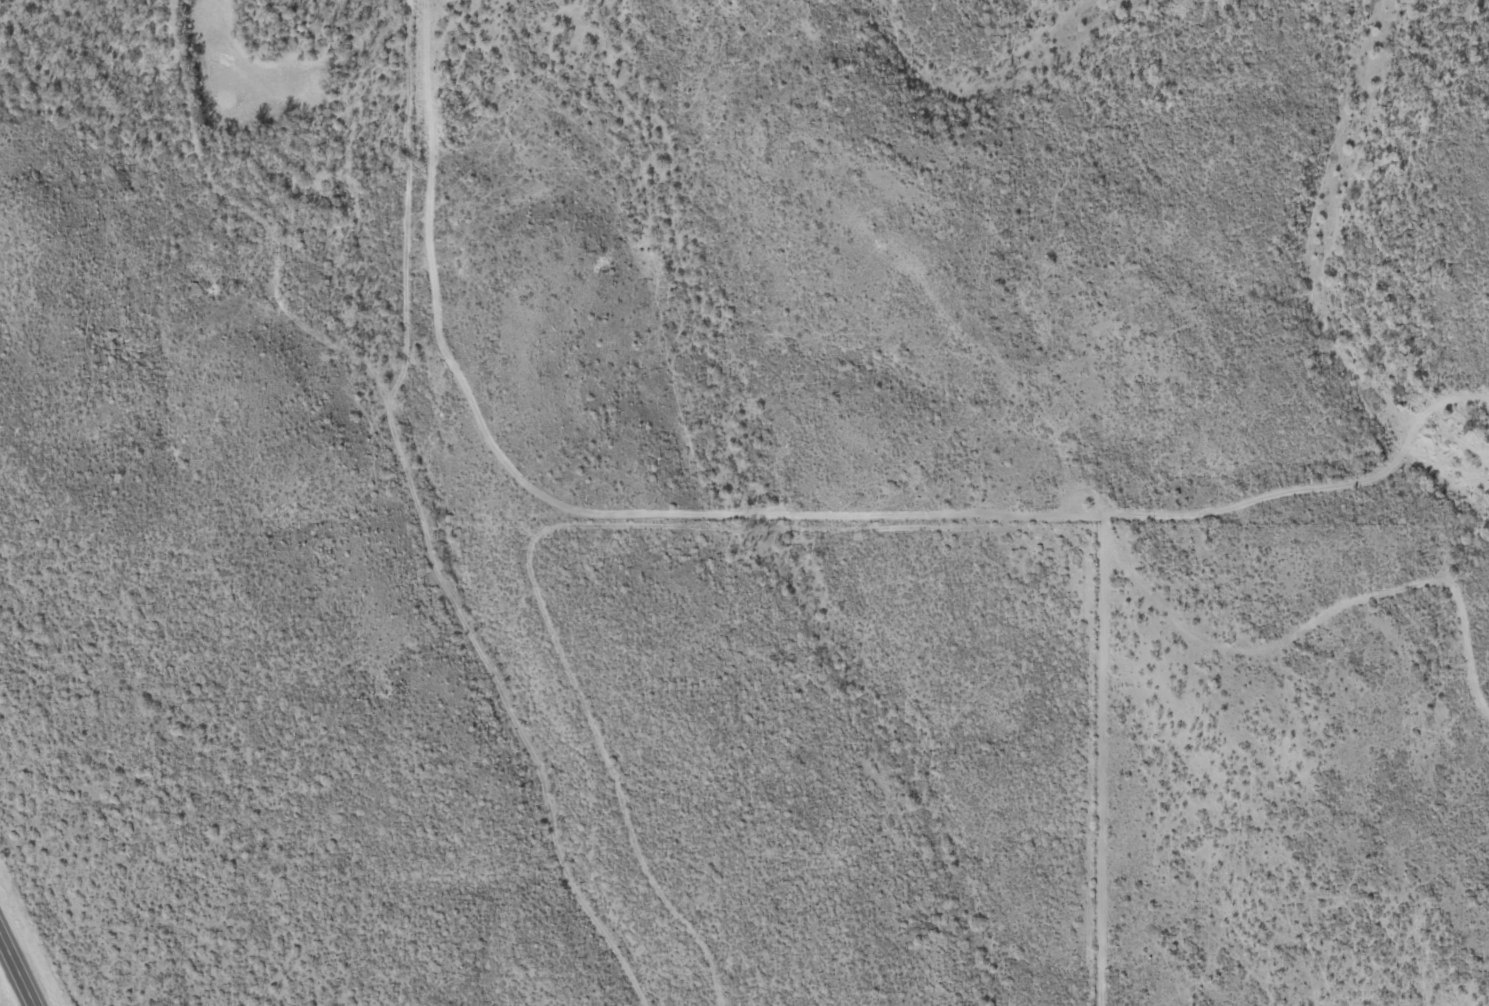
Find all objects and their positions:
road: (429, 520)
road: (1455, 526)
road: (1394, 694)
road: (1094, 753)
road: (21, 961)

